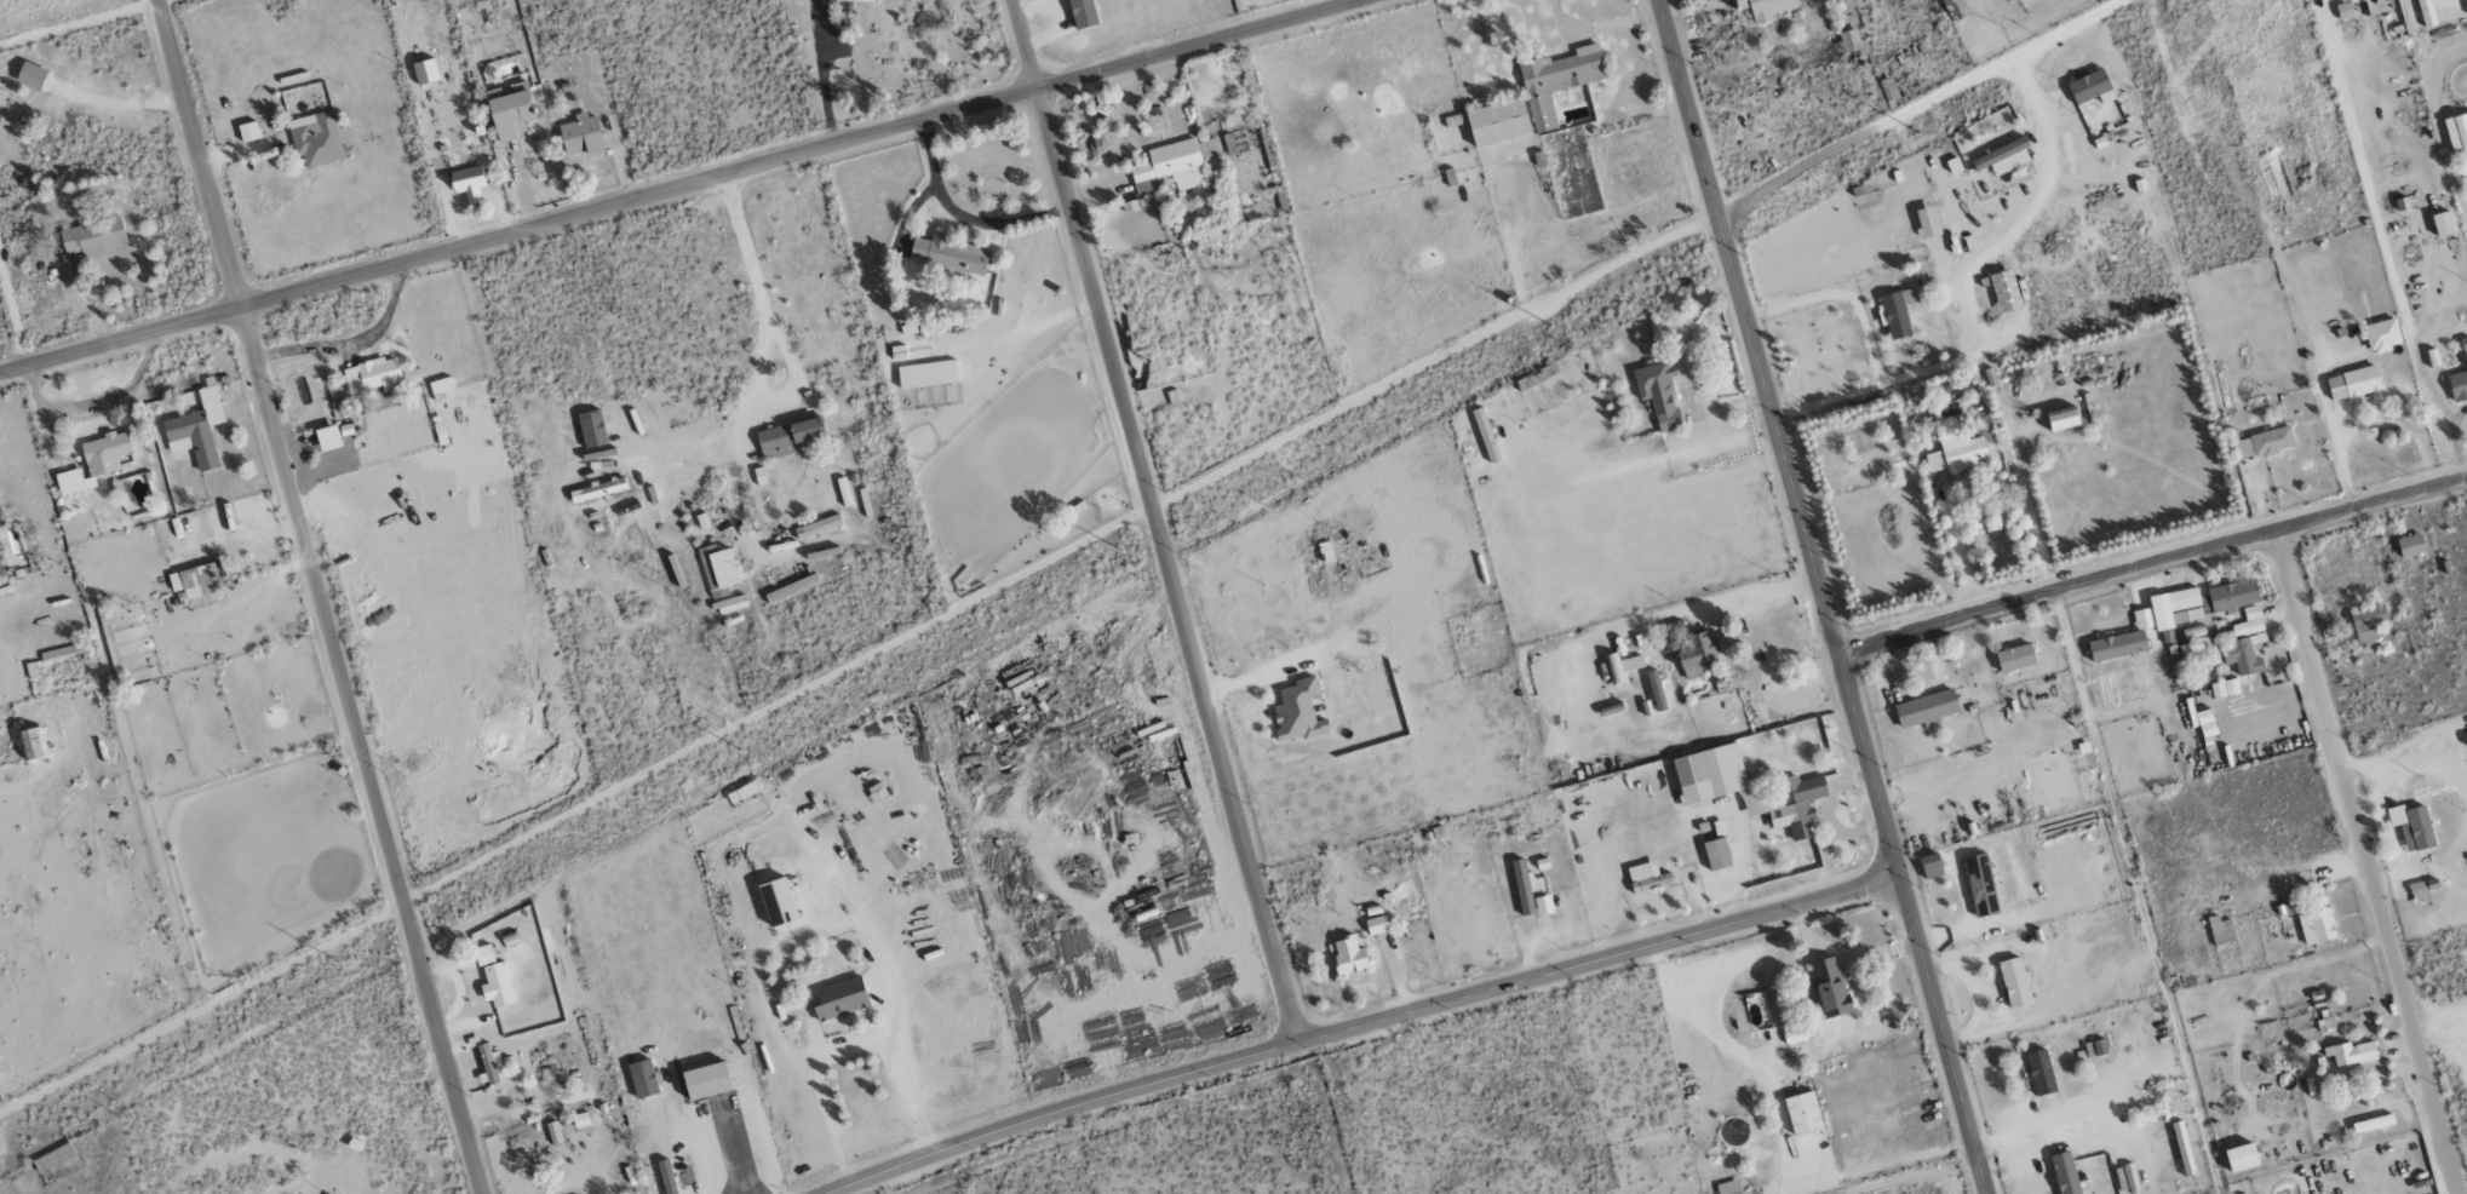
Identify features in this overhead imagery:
building: (856, 0)
building: (1766, 7)
building: (1955, 8)
building: (1082, 13)
building: (2426, 13)
building: (1848, 41)
building: (424, 70)
building: (30, 76)
building: (1557, 81)
building: (2090, 88)
road: (1918, 105)
building: (510, 110)
building: (1497, 121)
building: (248, 131)
building: (2456, 132)
building: (581, 136)
building: (316, 138)
building: (1097, 145)
road: (2079, 148)
building: (2002, 157)
building: (1171, 167)
building: (467, 182)
road: (678, 189)
building: (1927, 222)
building: (92, 236)
road: (1991, 251)
building: (949, 254)
building: (2004, 291)
road: (1842, 295)
building: (1895, 312)
building: (2381, 335)
road: (762, 339)
road: (1433, 358)
building: (926, 373)
building: (374, 375)
building: (2459, 377)
building: (2353, 383)
building: (440, 385)
building: (1657, 394)
road: (1828, 401)
building: (211, 404)
building: (2062, 421)
building: (591, 429)
building: (1485, 435)
building: (790, 436)
building: (190, 437)
building: (327, 437)
building: (2261, 444)
building: (1958, 453)
building: (94, 461)
building: (597, 489)
road: (1155, 521)
building: (817, 527)
building: (2410, 545)
road: (2152, 564)
building: (718, 569)
building: (195, 580)
building: (791, 589)
building: (2232, 595)
road: (1820, 596)
road: (320, 597)
building: (730, 604)
building: (2169, 609)
road: (1664, 613)
building: (2365, 620)
building: (2248, 622)
building: (2117, 645)
building: (1697, 653)
building: (2014, 658)
building: (1620, 666)
building: (2224, 688)
building: (1657, 694)
road: (776, 704)
building: (1926, 708)
building: (1297, 712)
building: (2205, 723)
building: (33, 742)
building: (1789, 792)
building: (2411, 826)
building: (1716, 854)
road: (2368, 861)
building: (1929, 867)
building: (1647, 877)
building: (1979, 885)
building: (1524, 886)
building: (1543, 905)
building: (1376, 925)
building: (2316, 926)
building: (2219, 928)
building: (483, 954)
building: (1348, 955)
building: (2014, 982)
building: (497, 985)
building: (1829, 987)
building: (839, 998)
road: (1360, 1024)
building: (1800, 1033)
road: (840, 1046)
building: (2351, 1052)
building: (489, 1063)
building: (2039, 1073)
building: (642, 1079)
building: (706, 1080)
building: (1802, 1113)
building: (553, 1132)
road: (2031, 1133)
building: (2182, 1148)
building: (54, 1156)
building: (2241, 1156)
building: (2065, 1173)
building: (667, 1177)
building: (2130, 1178)
building: (1728, 1187)

